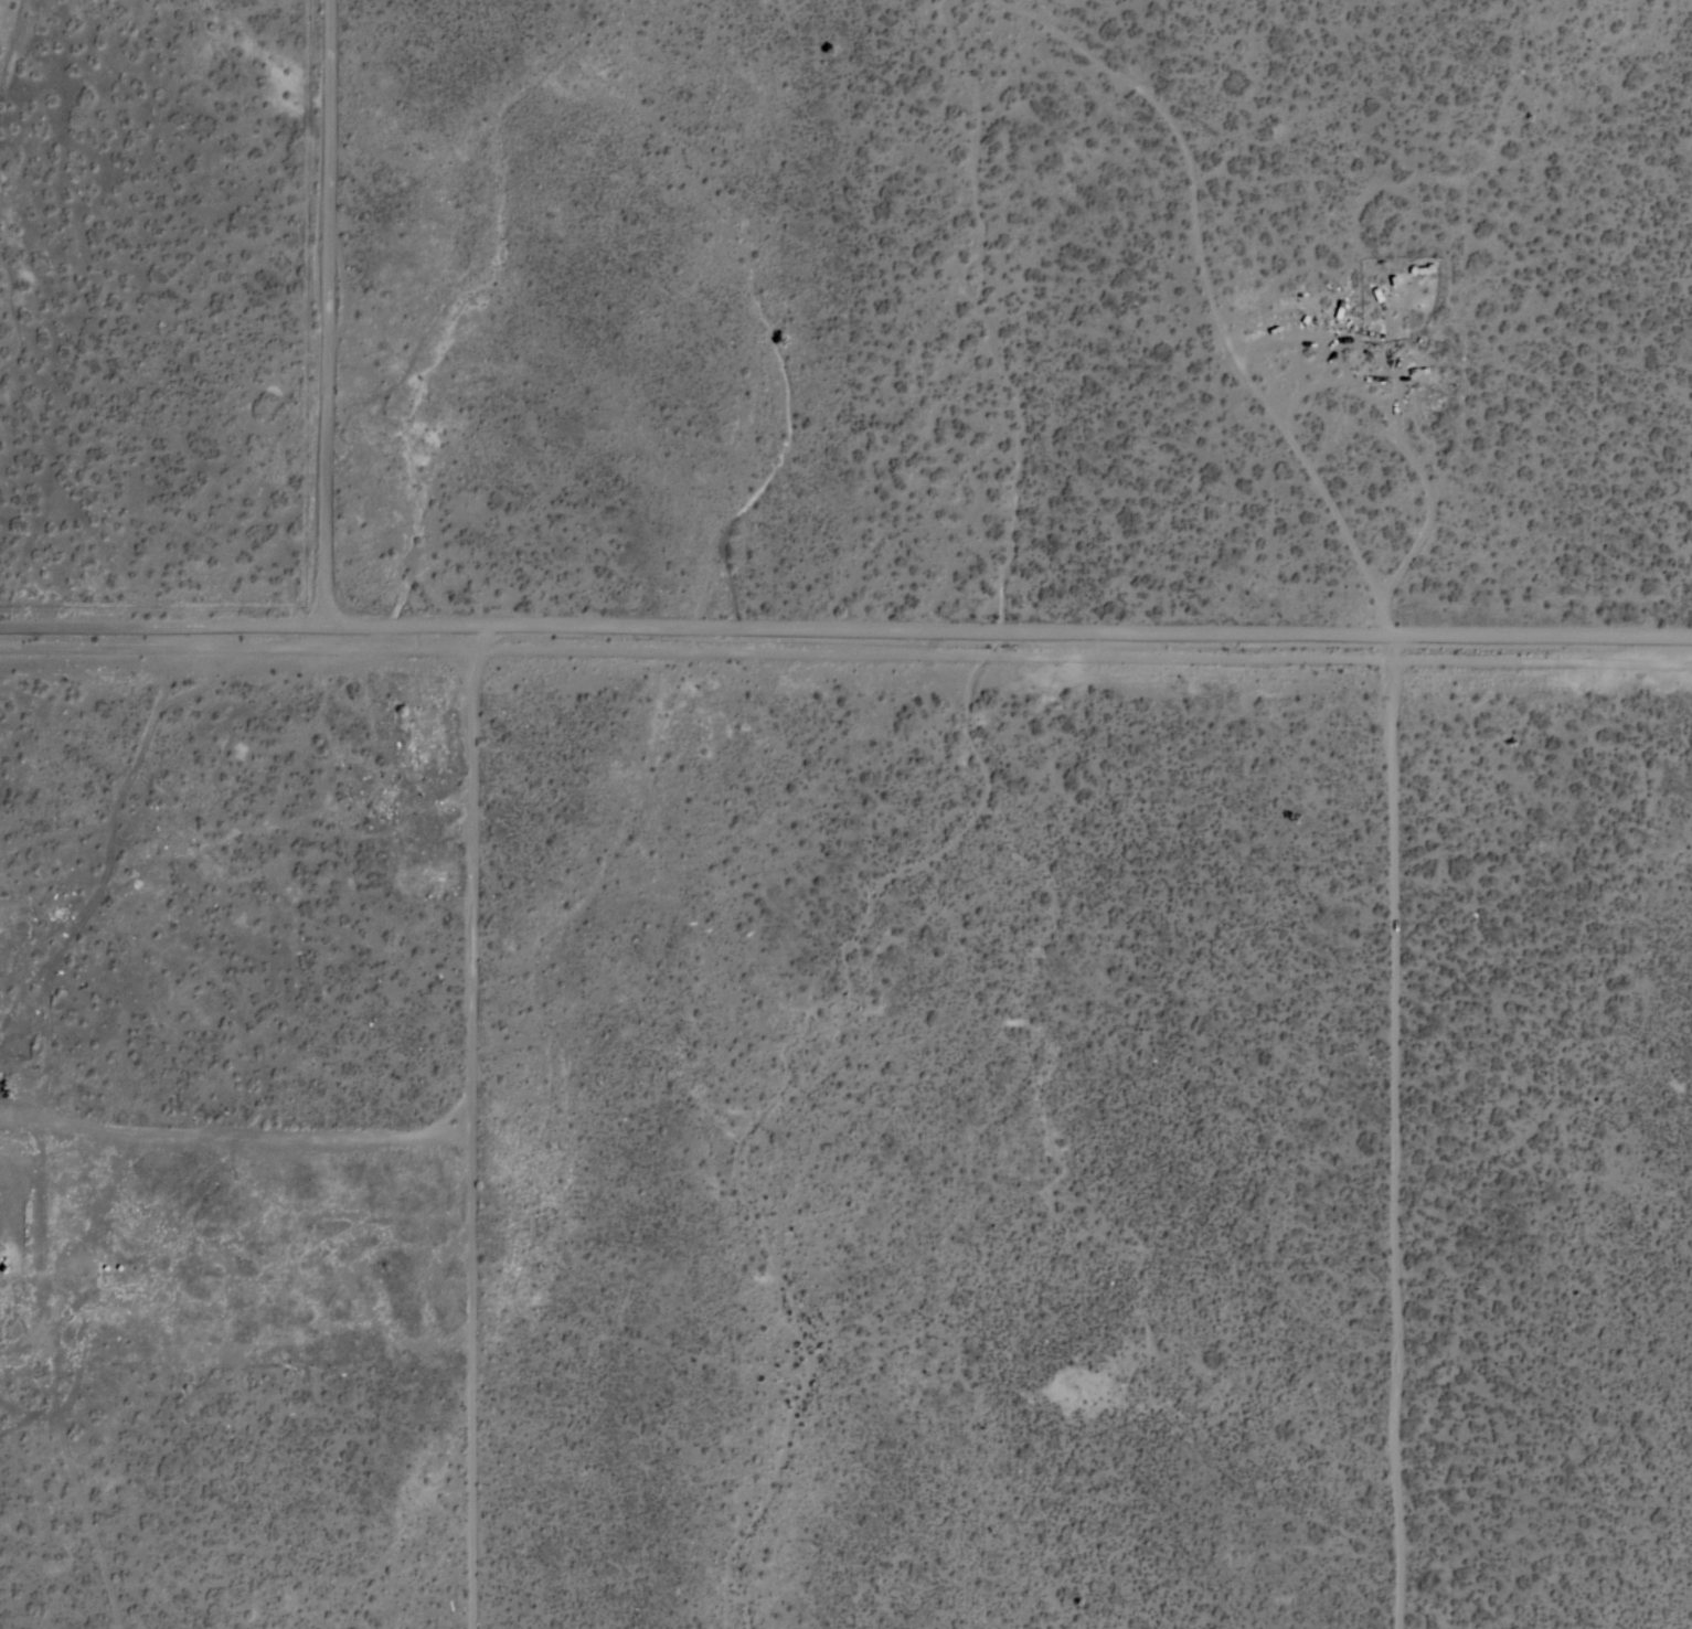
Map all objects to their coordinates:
road: (316, 321)
road: (1299, 457)
road: (1427, 520)
road: (845, 647)
road: (473, 1136)
road: (1397, 1140)

